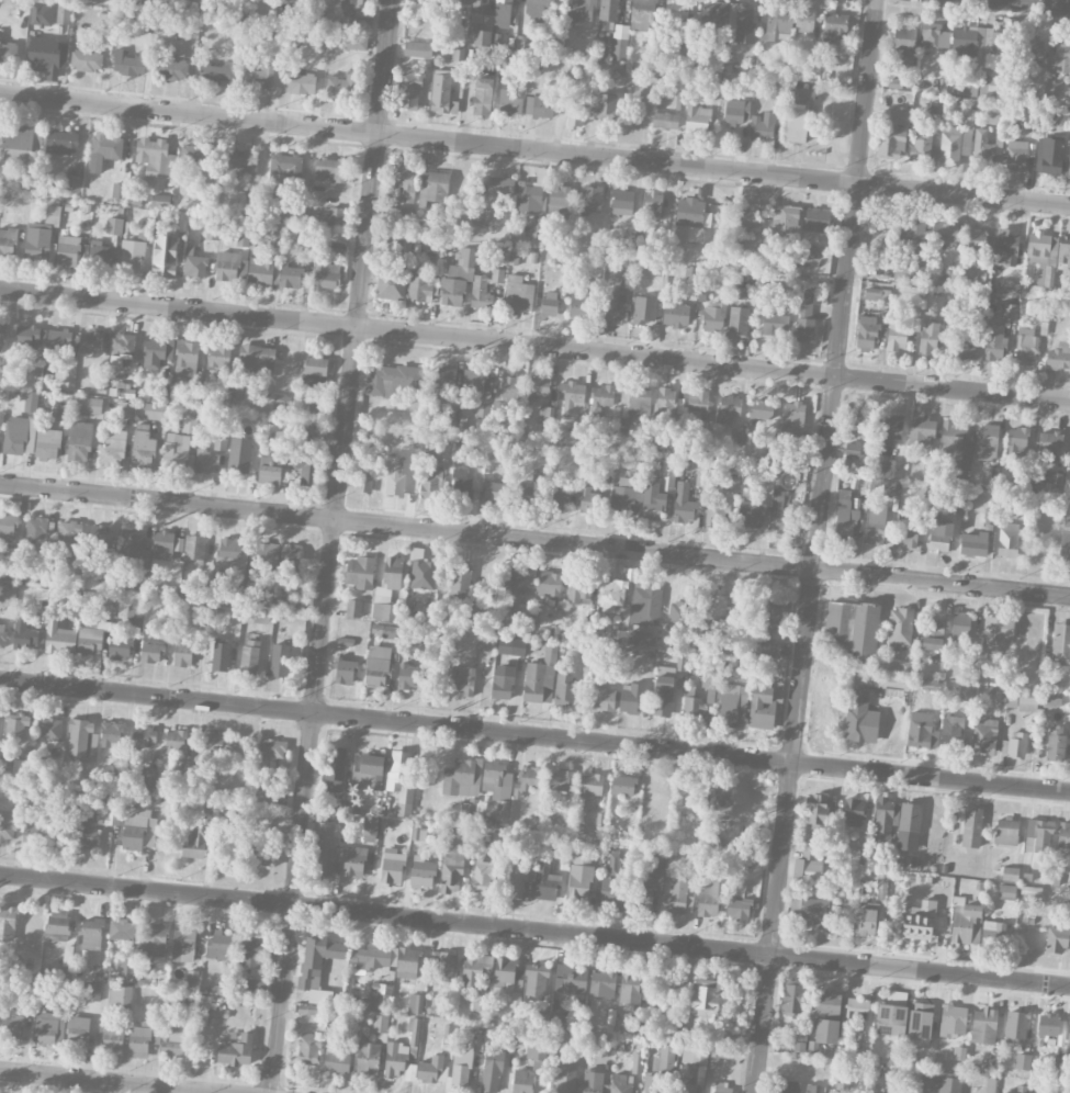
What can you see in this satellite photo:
building: (468, 0)
building: (94, 1)
building: (353, 2)
road: (1021, 4)
building: (538, 5)
building: (675, 9)
building: (581, 10)
building: (41, 13)
building: (503, 13)
building: (63, 14)
building: (608, 14)
building: (643, 14)
building: (712, 18)
building: (804, 21)
building: (481, 23)
building: (744, 24)
building: (777, 25)
building: (835, 26)
building: (935, 36)
building: (317, 37)
building: (619, 42)
building: (978, 43)
building: (905, 46)
building: (684, 48)
building: (417, 49)
building: (8, 52)
building: (457, 53)
building: (1032, 54)
building: (1058, 55)
building: (46, 56)
building: (86, 59)
building: (128, 61)
building: (171, 69)
building: (214, 72)
building: (259, 76)
building: (897, 80)
building: (300, 82)
building: (340, 84)
building: (1054, 86)
building: (965, 88)
building: (990, 88)
building: (410, 89)
building: (440, 93)
building: (801, 93)
building: (482, 95)
building: (680, 100)
building: (508, 102)
building: (538, 106)
building: (602, 106)
building: (736, 111)
building: (900, 115)
building: (697, 116)
building: (575, 119)
building: (969, 119)
building: (665, 120)
building: (796, 125)
building: (762, 126)
building: (61, 142)
building: (890, 143)
building: (20, 146)
building: (949, 146)
building: (920, 148)
building: (982, 149)
building: (103, 150)
road: (534, 151)
building: (194, 155)
building: (1016, 155)
building: (1049, 155)
building: (154, 156)
building: (241, 160)
building: (1069, 165)
building: (285, 168)
building: (329, 169)
building: (72, 182)
building: (403, 182)
building: (433, 187)
building: (499, 187)
building: (120, 190)
building: (530, 194)
building: (559, 200)
building: (590, 200)
building: (160, 201)
building: (622, 202)
building: (653, 204)
building: (288, 215)
building: (748, 215)
building: (333, 216)
building: (482, 216)
building: (689, 219)
building: (818, 221)
building: (785, 224)
building: (113, 225)
building: (911, 233)
building: (944, 233)
building: (41, 235)
building: (243, 237)
building: (976, 237)
building: (879, 241)
building: (8, 243)
building: (1005, 246)
building: (398, 247)
building: (1039, 248)
building: (67, 250)
building: (810, 251)
building: (1063, 251)
building: (133, 252)
building: (100, 255)
building: (165, 255)
building: (513, 257)
building: (194, 263)
building: (230, 266)
building: (260, 270)
building: (290, 275)
building: (326, 275)
building: (497, 275)
building: (982, 278)
building: (464, 279)
building: (391, 284)
building: (1010, 286)
building: (421, 288)
building: (518, 292)
building: (739, 292)
building: (877, 292)
building: (549, 303)
building: (578, 303)
road: (179, 308)
building: (615, 308)
building: (644, 309)
building: (1010, 312)
building: (676, 315)
building: (713, 315)
building: (804, 317)
building: (737, 320)
building: (775, 323)
building: (867, 331)
building: (2, 334)
building: (897, 335)
building: (26, 336)
building: (930, 337)
building: (91, 341)
building: (994, 341)
building: (59, 342)
building: (961, 346)
building: (1026, 346)
building: (121, 349)
building: (156, 351)
building: (219, 357)
building: (257, 357)
building: (1059, 357)
building: (187, 358)
road: (713, 364)
building: (314, 370)
building: (392, 379)
building: (443, 383)
building: (474, 383)
building: (538, 385)
building: (510, 390)
building: (572, 392)
building: (275, 398)
building: (600, 398)
building: (31, 401)
building: (665, 403)
building: (91, 406)
building: (697, 406)
building: (124, 408)
building: (729, 408)
building: (483, 409)
building: (762, 409)
building: (154, 410)
building: (793, 416)
building: (859, 421)
building: (189, 425)
building: (316, 427)
building: (576, 429)
building: (888, 431)
building: (922, 432)
building: (19, 435)
building: (951, 435)
building: (1017, 439)
building: (48, 441)
building: (79, 441)
building: (987, 442)
building: (143, 446)
building: (1048, 446)
building: (853, 450)
building: (112, 451)
building: (178, 451)
building: (770, 451)
building: (239, 454)
building: (476, 457)
building: (205, 461)
building: (270, 466)
building: (893, 469)
building: (397, 471)
building: (307, 472)
building: (432, 481)
building: (364, 482)
building: (731, 482)
building: (891, 487)
building: (497, 491)
building: (658, 491)
building: (924, 492)
building: (527, 496)
building: (623, 497)
building: (956, 498)
building: (556, 499)
building: (588, 499)
building: (683, 503)
building: (717, 511)
building: (780, 512)
building: (751, 514)
building: (845, 515)
building: (908, 529)
building: (68, 534)
building: (100, 534)
building: (941, 537)
building: (978, 539)
building: (1007, 540)
road: (534, 541)
building: (131, 545)
building: (162, 546)
road: (333, 546)
road: (818, 546)
building: (194, 549)
building: (290, 556)
building: (232, 559)
building: (264, 564)
building: (421, 571)
building: (360, 572)
building: (392, 572)
building: (4, 573)
building: (105, 574)
building: (72, 575)
building: (460, 581)
building: (518, 583)
building: (549, 584)
building: (170, 590)
building: (578, 593)
building: (200, 594)
building: (612, 594)
building: (8, 595)
building: (233, 597)
building: (283, 600)
building: (644, 601)
building: (717, 606)
building: (105, 608)
building: (352, 608)
building: (521, 611)
building: (71, 612)
building: (380, 612)
building: (135, 615)
building: (471, 615)
building: (198, 619)
building: (769, 624)
building: (960, 627)
building: (899, 628)
building: (853, 629)
building: (996, 632)
building: (23, 634)
building: (933, 634)
building: (2, 635)
building: (618, 635)
building: (59, 638)
building: (642, 638)
building: (90, 641)
building: (345, 641)
building: (484, 642)
building: (1060, 643)
building: (120, 645)
building: (511, 645)
building: (150, 652)
building: (182, 653)
building: (219, 656)
building: (250, 656)
building: (279, 660)
building: (376, 665)
building: (345, 672)
building: (407, 675)
building: (540, 677)
building: (1013, 678)
building: (461, 680)
building: (503, 681)
building: (892, 686)
building: (709, 688)
building: (565, 690)
building: (967, 691)
building: (601, 696)
building: (663, 696)
building: (631, 697)
building: (1011, 698)
building: (1048, 698)
building: (1027, 701)
building: (730, 706)
building: (692, 707)
building: (763, 707)
building: (860, 718)
building: (15, 728)
building: (52, 729)
building: (921, 730)
building: (951, 730)
building: (110, 735)
building: (78, 736)
building: (143, 736)
road: (534, 736)
building: (984, 737)
building: (174, 741)
building: (1056, 743)
building: (1016, 744)
building: (211, 746)
building: (271, 752)
building: (336, 770)
building: (369, 773)
building: (148, 778)
building: (462, 778)
building: (531, 778)
building: (401, 780)
building: (559, 780)
building: (592, 785)
building: (623, 785)
building: (498, 787)
building: (264, 796)
building: (718, 803)
building: (203, 808)
building: (816, 812)
building: (854, 812)
building: (886, 818)
building: (95, 824)
building: (8, 825)
building: (909, 826)
building: (971, 827)
building: (138, 829)
building: (370, 829)
building: (1006, 831)
building: (1038, 835)
building: (1063, 835)
building: (195, 838)
building: (713, 844)
building: (326, 849)
building: (259, 853)
building: (654, 854)
building: (354, 860)
building: (452, 861)
building: (743, 863)
building: (808, 865)
building: (392, 866)
building: (421, 872)
building: (1010, 874)
building: (483, 877)
building: (579, 878)
building: (515, 880)
building: (545, 881)
building: (633, 890)
building: (1030, 890)
building: (1006, 891)
building: (1069, 897)
building: (677, 898)
building: (710, 899)
building: (739, 908)
building: (810, 911)
building: (866, 917)
building: (919, 921)
building: (8, 922)
building: (966, 922)
building: (57, 926)
road: (534, 928)
building: (122, 929)
building: (993, 931)
building: (90, 933)
building: (154, 939)
building: (1057, 940)
building: (183, 944)
building: (219, 945)
building: (250, 951)
building: (67, 955)
building: (387, 958)
building: (316, 960)
building: (11, 964)
building: (444, 965)
building: (475, 970)
building: (192, 978)
building: (573, 979)
building: (536, 980)
building: (507, 981)
building: (602, 983)
building: (251, 985)
building: (634, 987)
building: (93, 991)
building: (120, 994)
building: (380, 998)
building: (705, 998)
building: (792, 998)
building: (415, 1003)
building: (478, 1010)
building: (857, 1011)
building: (892, 1014)
building: (827, 1016)
building: (951, 1019)
building: (561, 1021)
building: (380, 1023)
building: (12, 1024)
building: (920, 1024)
building: (984, 1025)
building: (1048, 1025)
building: (1016, 1026)
building: (47, 1027)
building: (77, 1028)
building: (1069, 1034)
building: (414, 1035)
building: (109, 1036)
building: (447, 1038)
building: (139, 1040)
building: (171, 1043)
building: (864, 1047)
building: (308, 1048)
building: (236, 1050)
building: (538, 1052)
building: (695, 1053)
building: (717, 1055)
building: (368, 1058)
building: (554, 1058)
building: (395, 1059)
building: (666, 1059)
building: (337, 1061)
building: (1023, 1061)
building: (637, 1062)
building: (462, 1064)
building: (492, 1068)
building: (432, 1070)
building: (410, 1072)
building: (565, 1078)
road: (113, 1081)
building: (522, 1081)
building: (593, 1081)
building: (941, 1083)
building: (620, 1084)
building: (654, 1084)
building: (785, 1086)
building: (686, 1088)
building: (721, 1088)
building: (988, 1088)
building: (814, 1089)
building: (1022, 1089)

